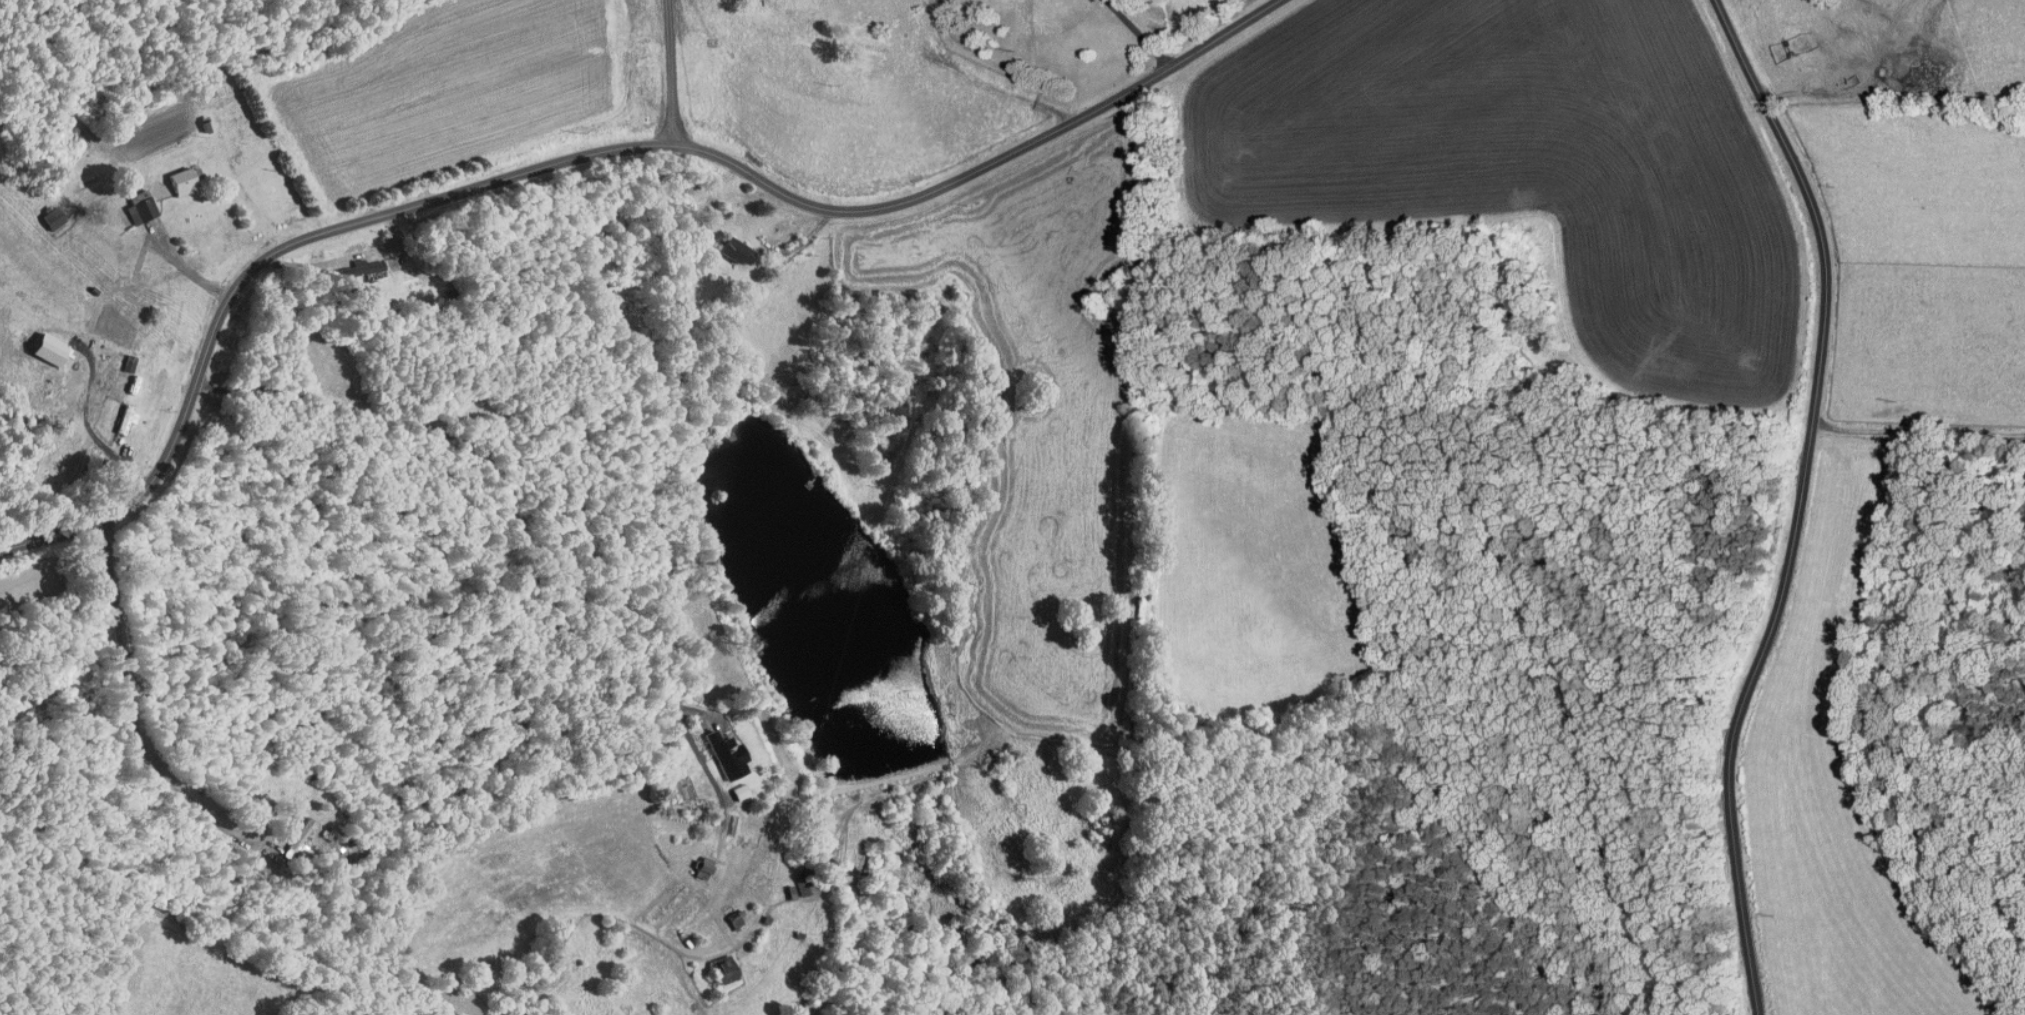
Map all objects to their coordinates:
road: (1138, 32)
road: (656, 73)
road: (586, 155)
building: (172, 175)
building: (131, 203)
building: (44, 212)
building: (727, 244)
building: (356, 261)
building: (120, 357)
building: (116, 413)
road: (1916, 429)
road: (1797, 501)
road: (664, 539)
road: (133, 710)
building: (717, 749)
building: (730, 786)
building: (291, 832)
building: (796, 882)
building: (726, 914)
building: (714, 964)

